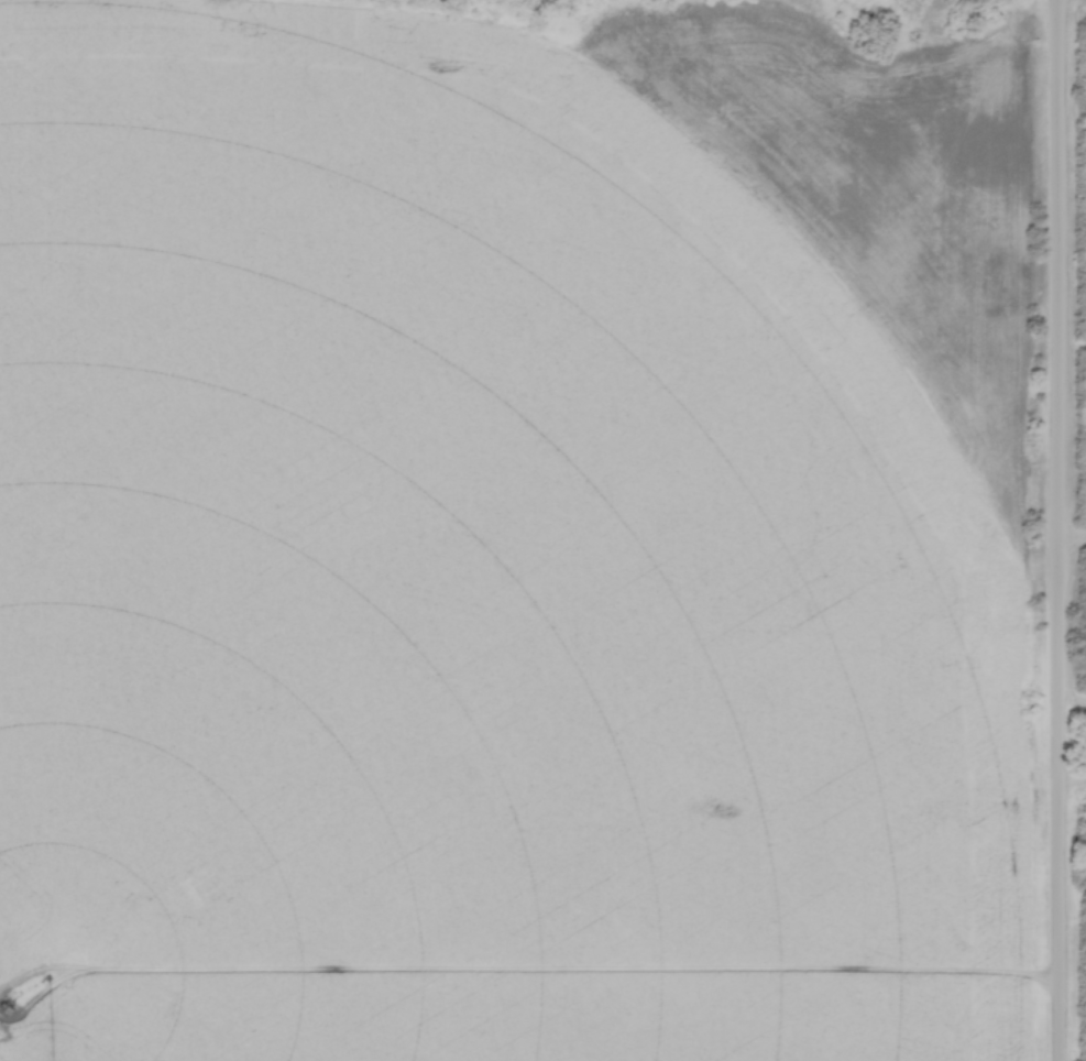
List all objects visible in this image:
road: (1063, 529)
road: (1075, 544)

